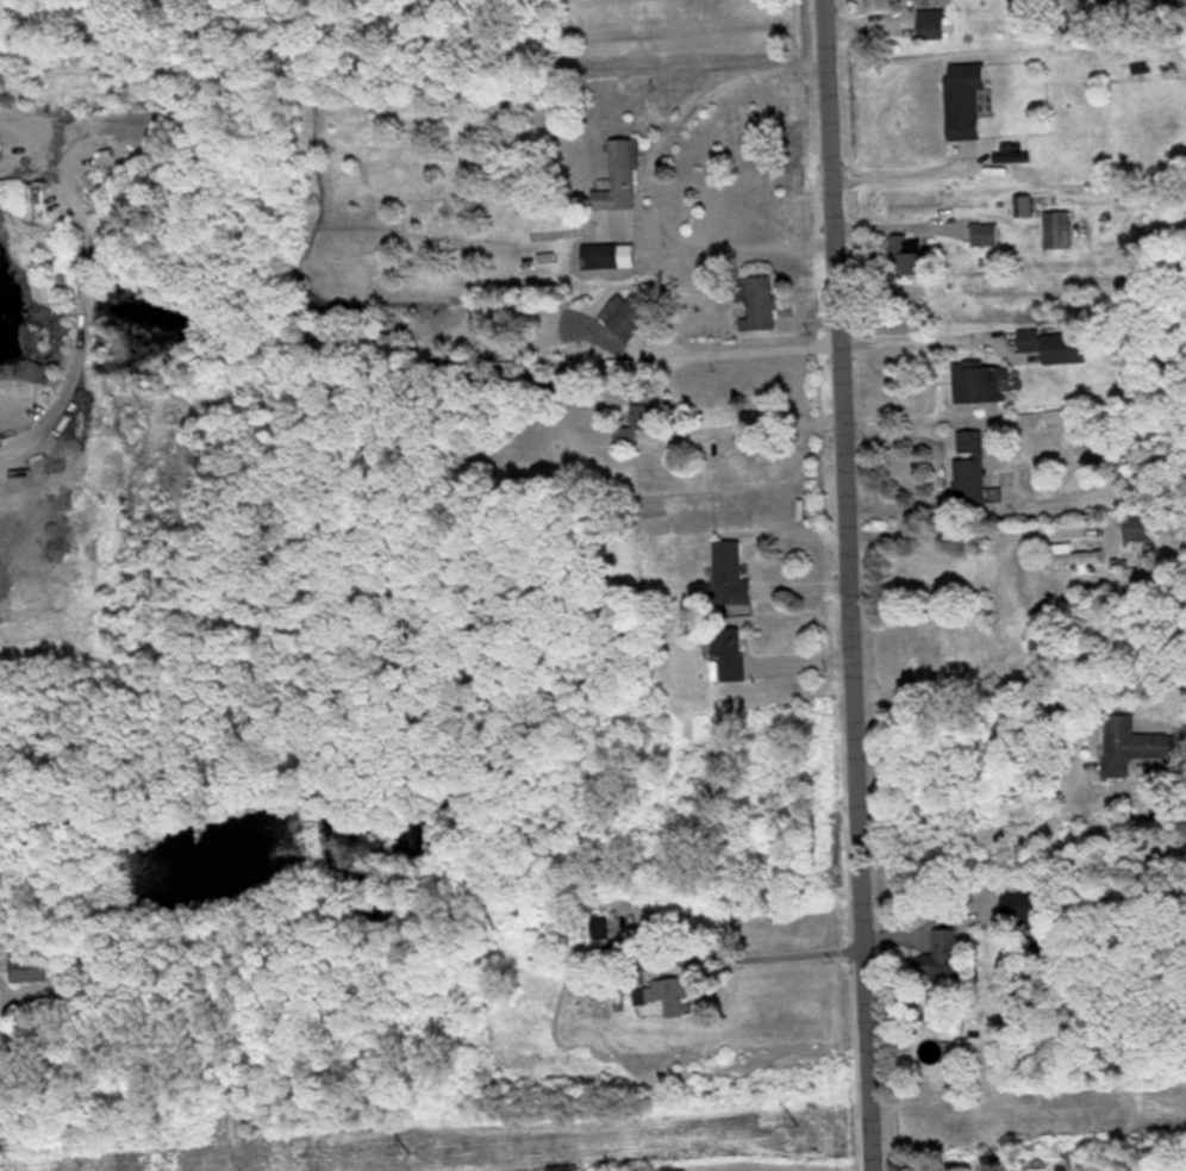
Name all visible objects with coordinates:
building: (930, 21)
building: (963, 99)
building: (619, 173)
building: (1022, 204)
building: (1055, 228)
building: (982, 232)
building: (904, 251)
building: (607, 253)
building: (755, 300)
building: (624, 312)
building: (1054, 343)
building: (976, 379)
building: (639, 413)
building: (967, 465)
building: (1136, 527)
building: (1069, 554)
building: (729, 572)
road: (845, 585)
building: (610, 587)
building: (1130, 743)
building: (1028, 910)
building: (598, 926)
building: (938, 955)
building: (24, 967)
building: (662, 995)
power tower: (800, 1122)
power tower: (410, 1152)

